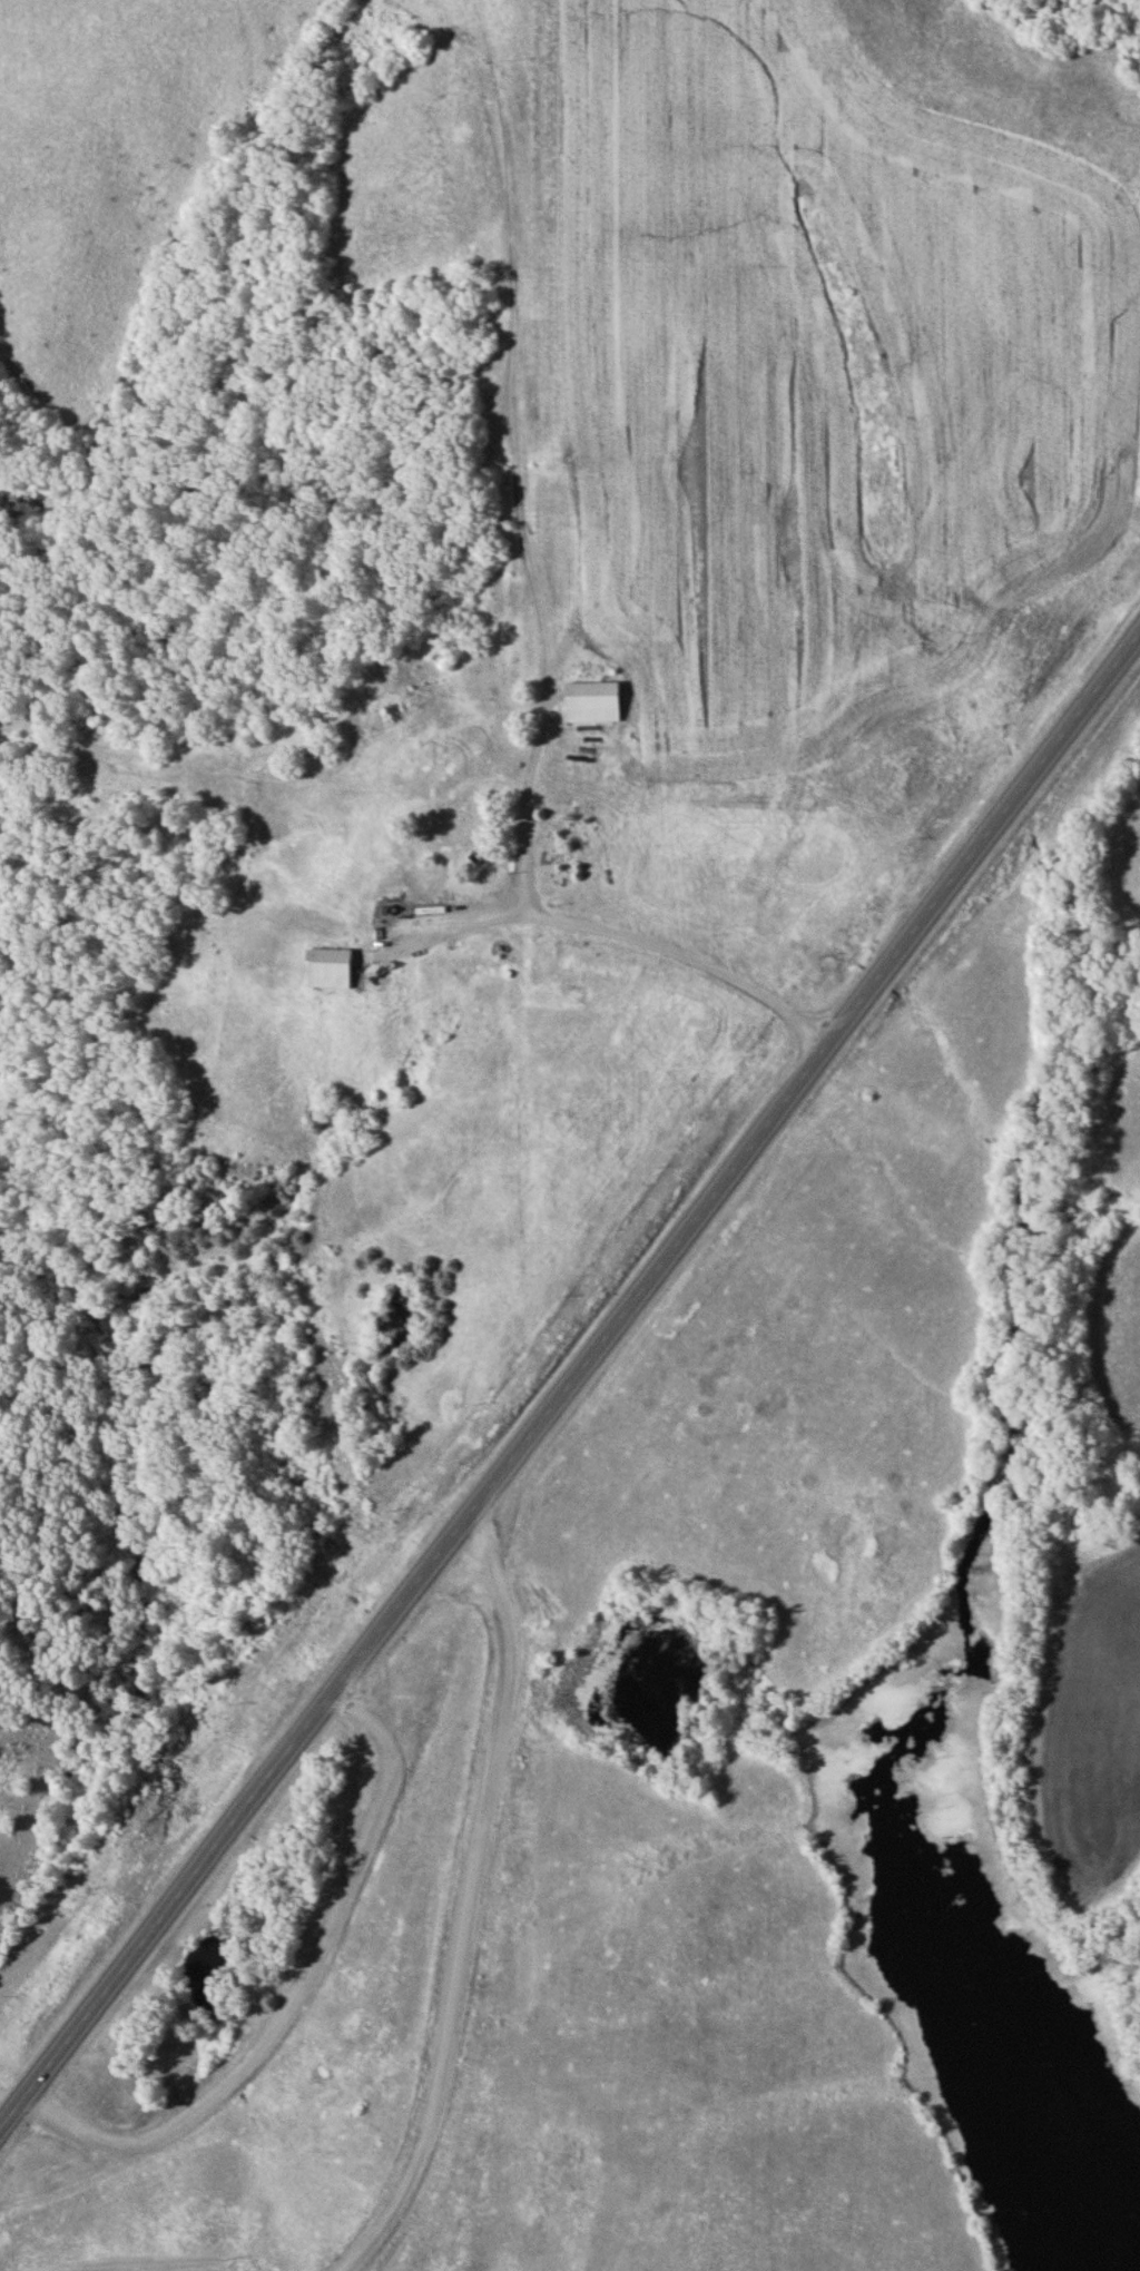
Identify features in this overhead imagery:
building: (593, 702)
road: (626, 936)
building: (330, 967)
road: (569, 1385)

